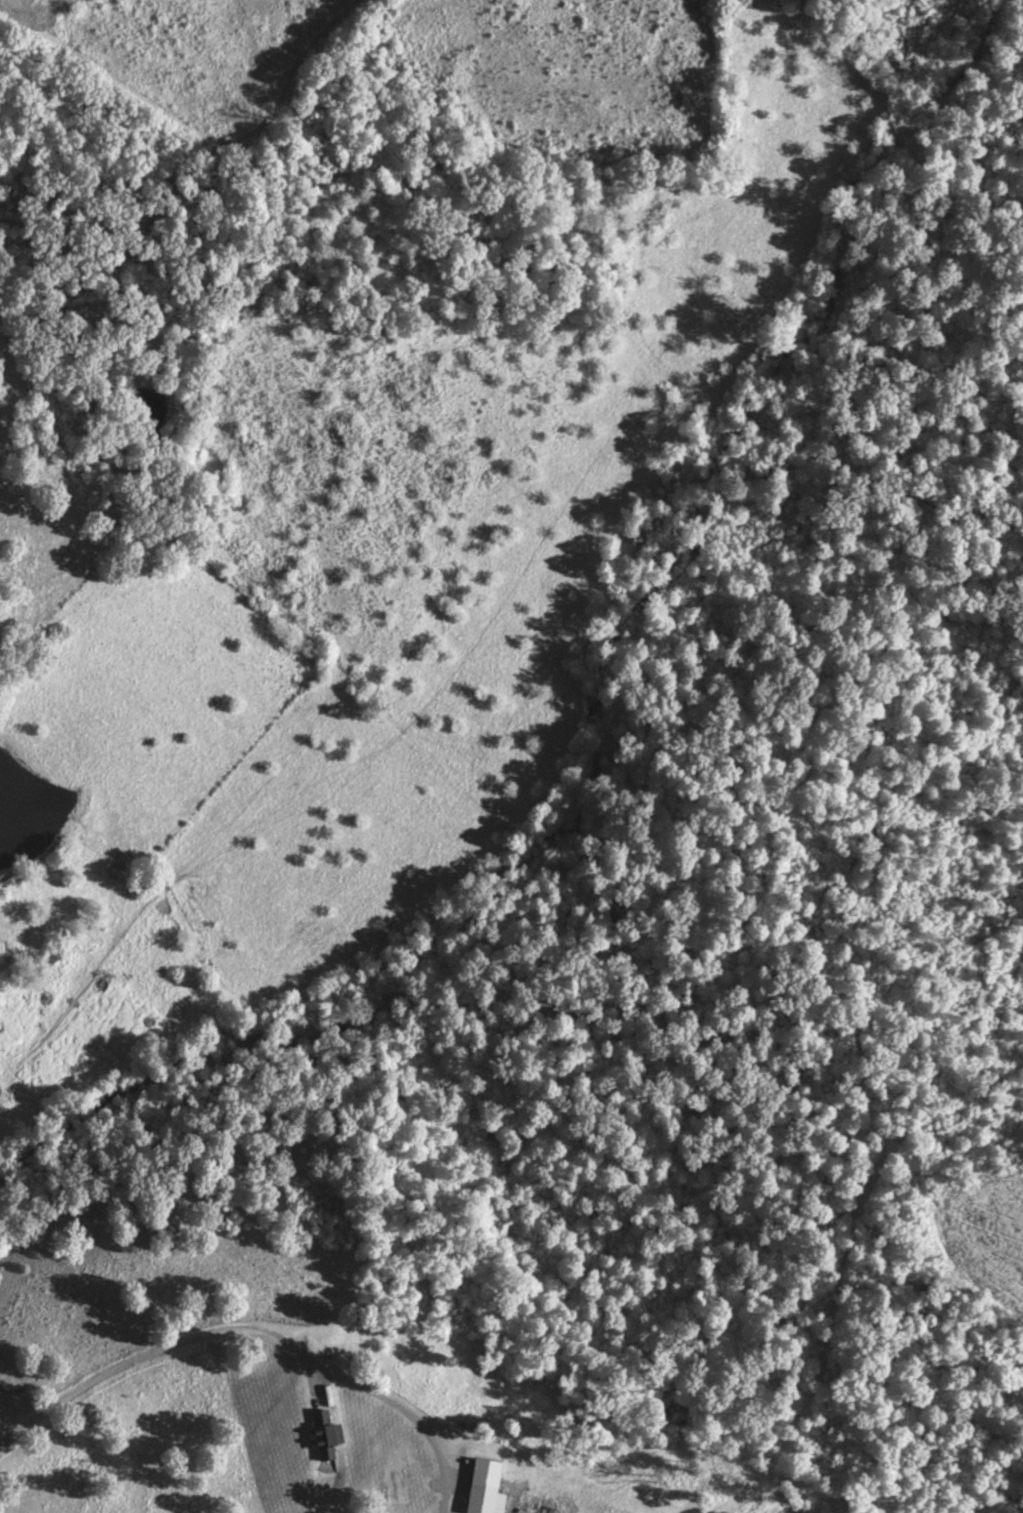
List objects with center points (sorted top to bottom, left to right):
building: (56, 954)
road: (169, 1357)
building: (327, 1434)

